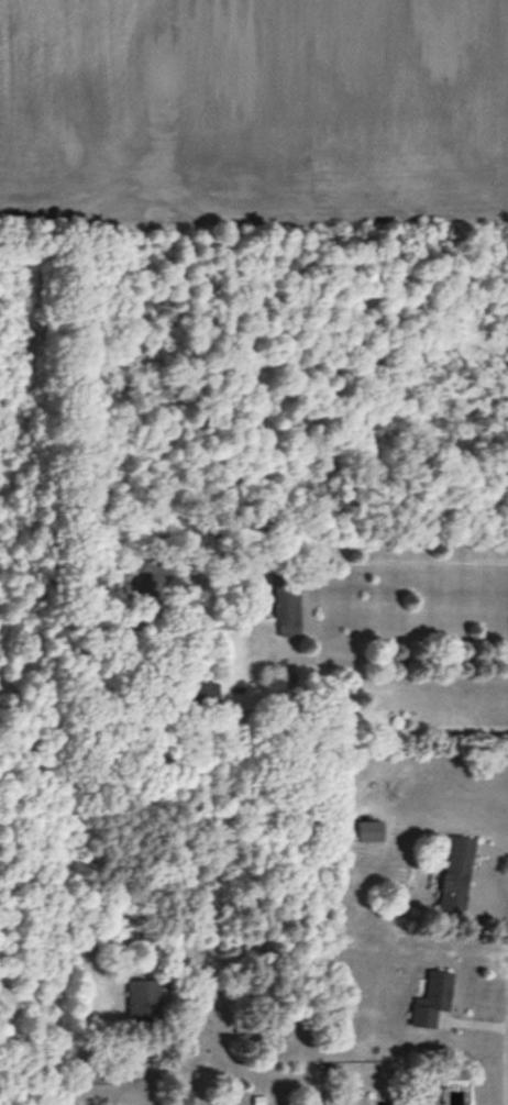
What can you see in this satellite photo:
building: (286, 605)
road: (399, 659)
building: (368, 832)
building: (455, 876)
building: (431, 1001)
building: (143, 1002)
road: (507, 1079)
building: (181, 1098)

